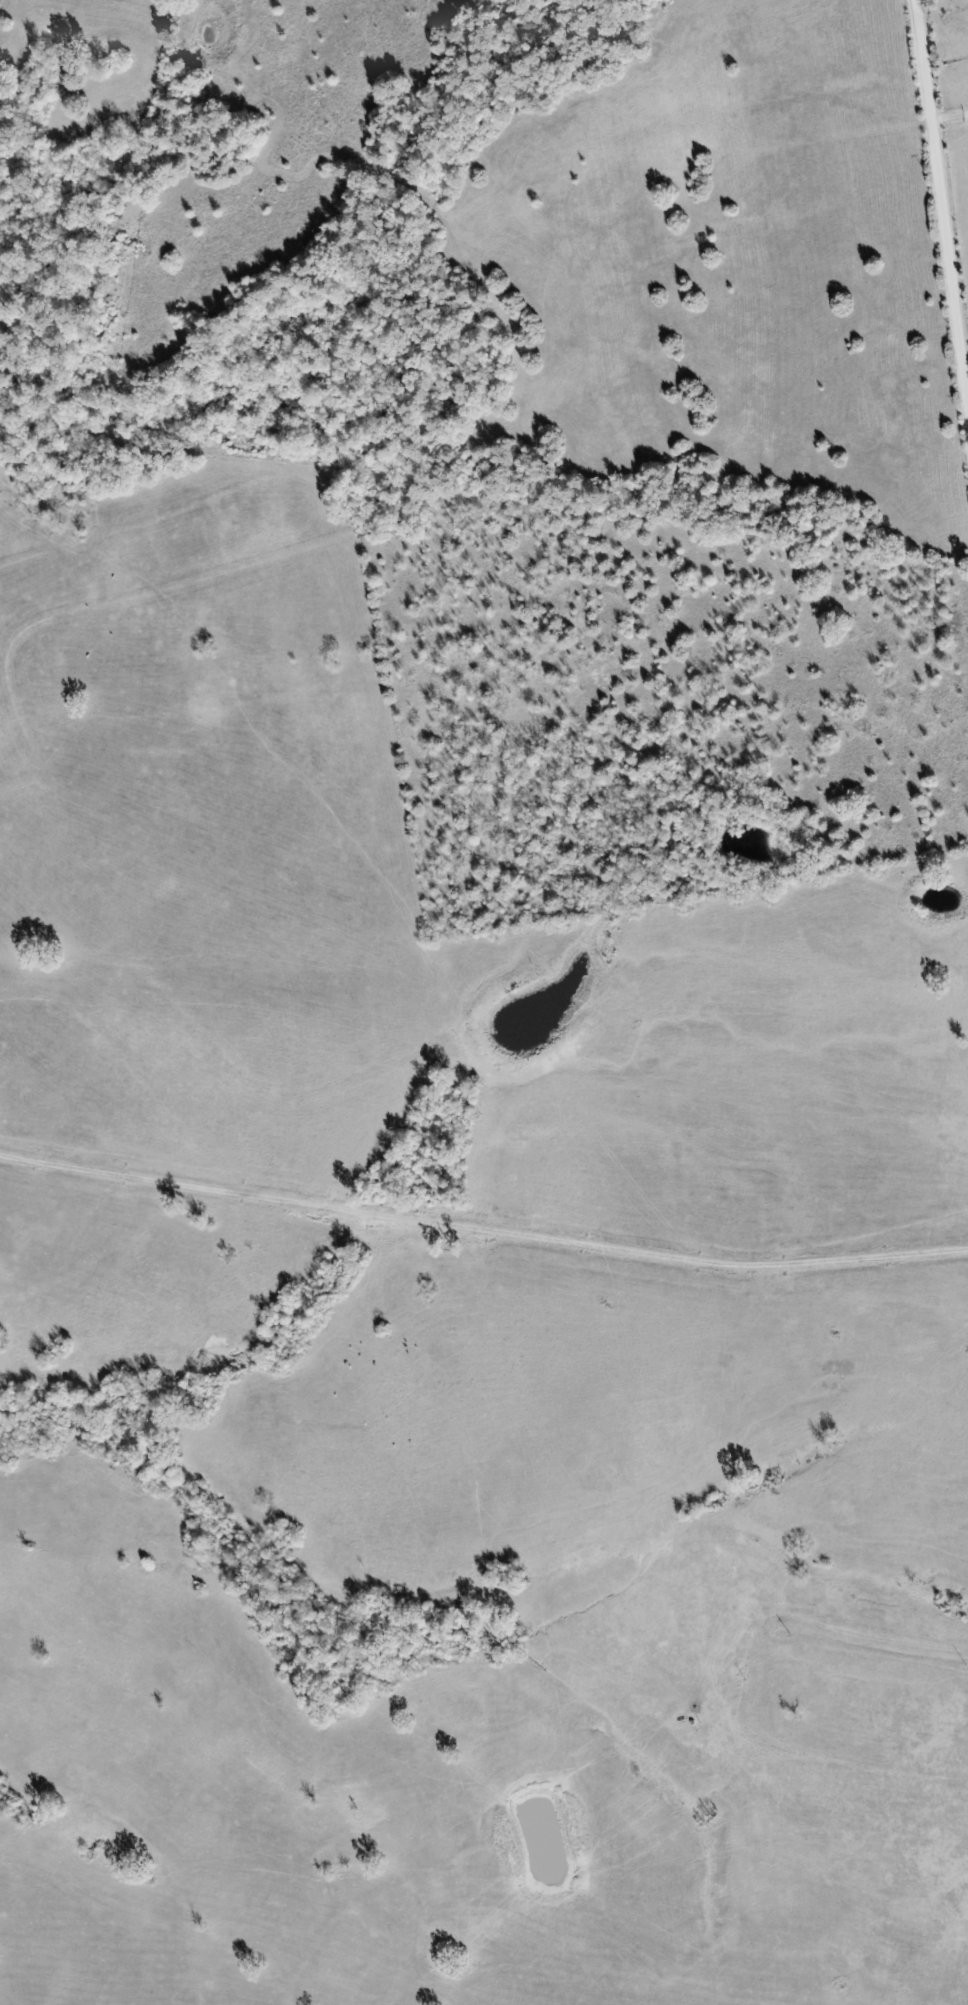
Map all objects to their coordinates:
road: (951, 117)
road: (943, 197)

